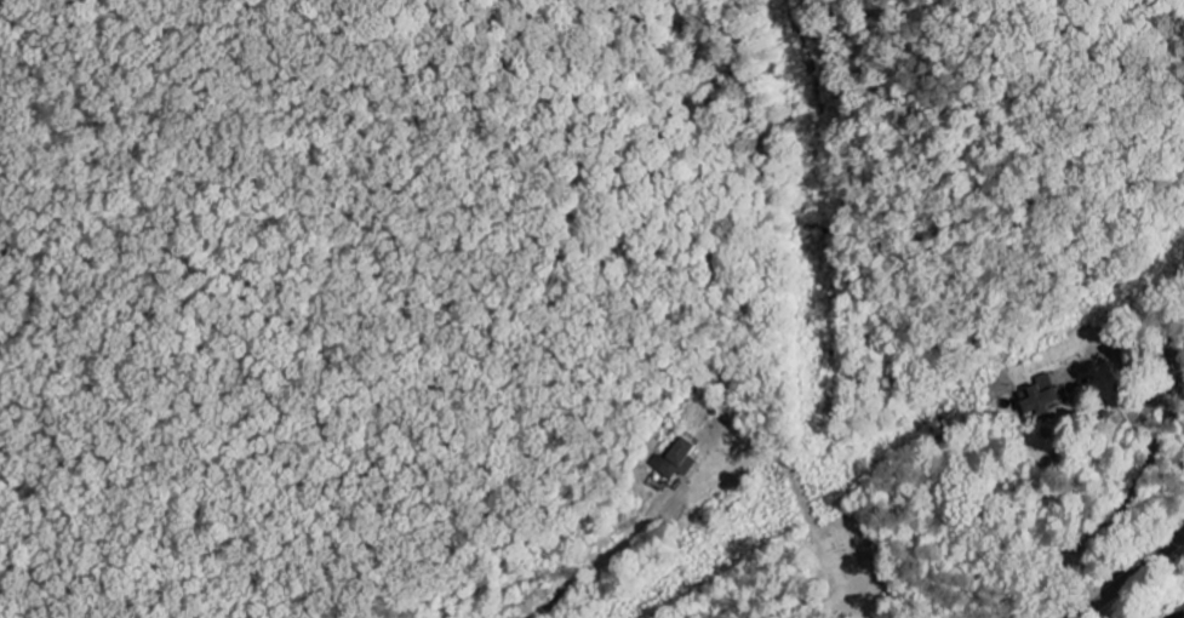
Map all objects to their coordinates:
building: (1042, 396)
building: (677, 459)
road: (1131, 576)
railway: (1178, 613)

